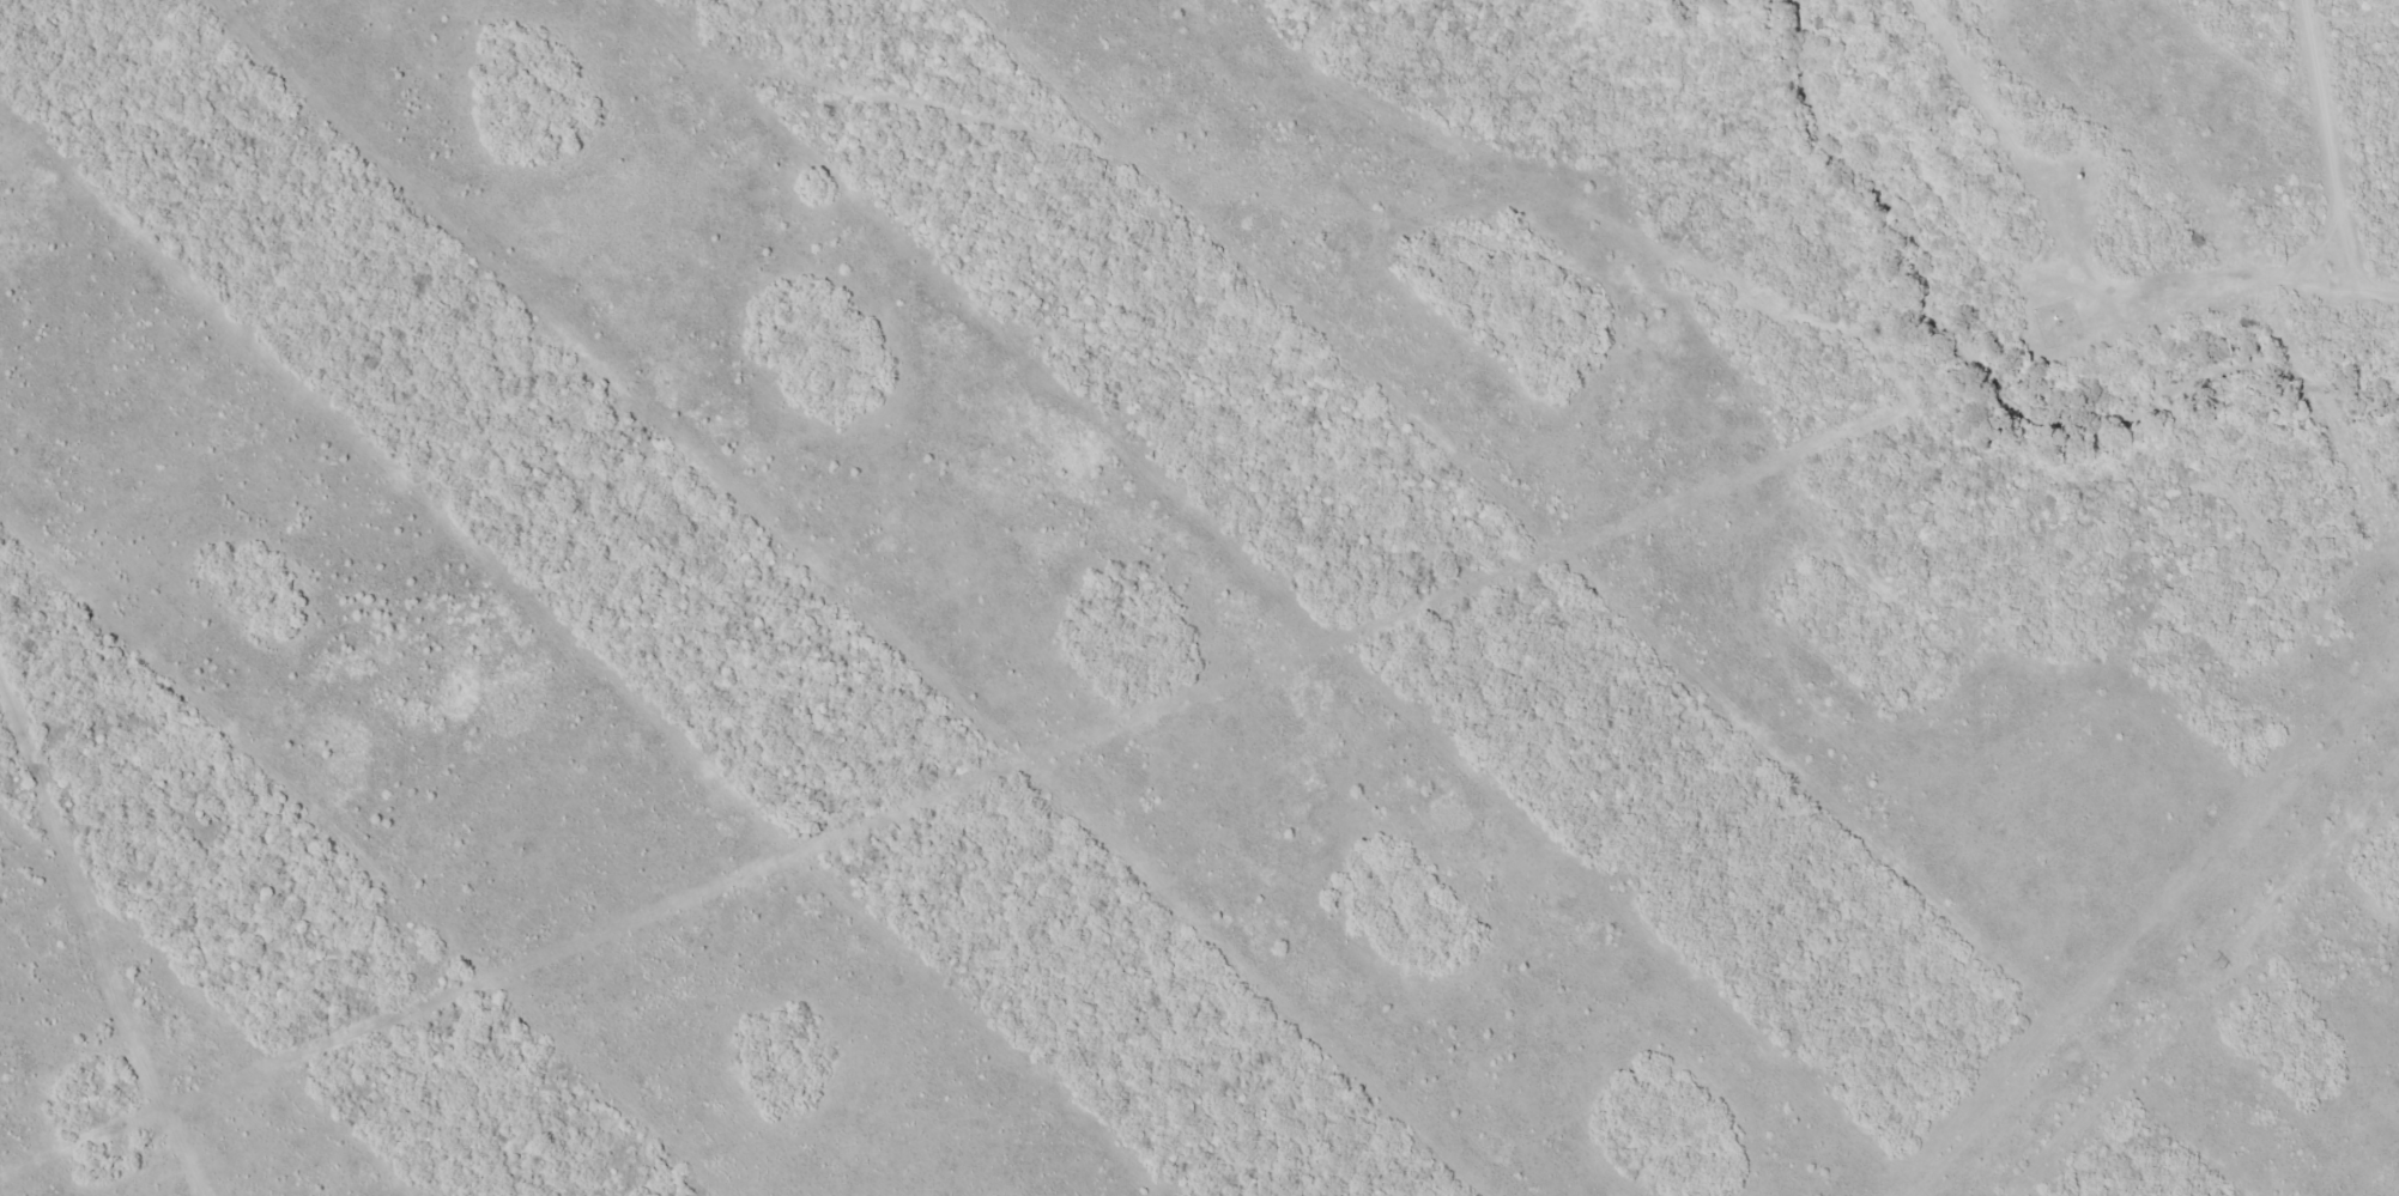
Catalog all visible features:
power tower: (2217, 965)

